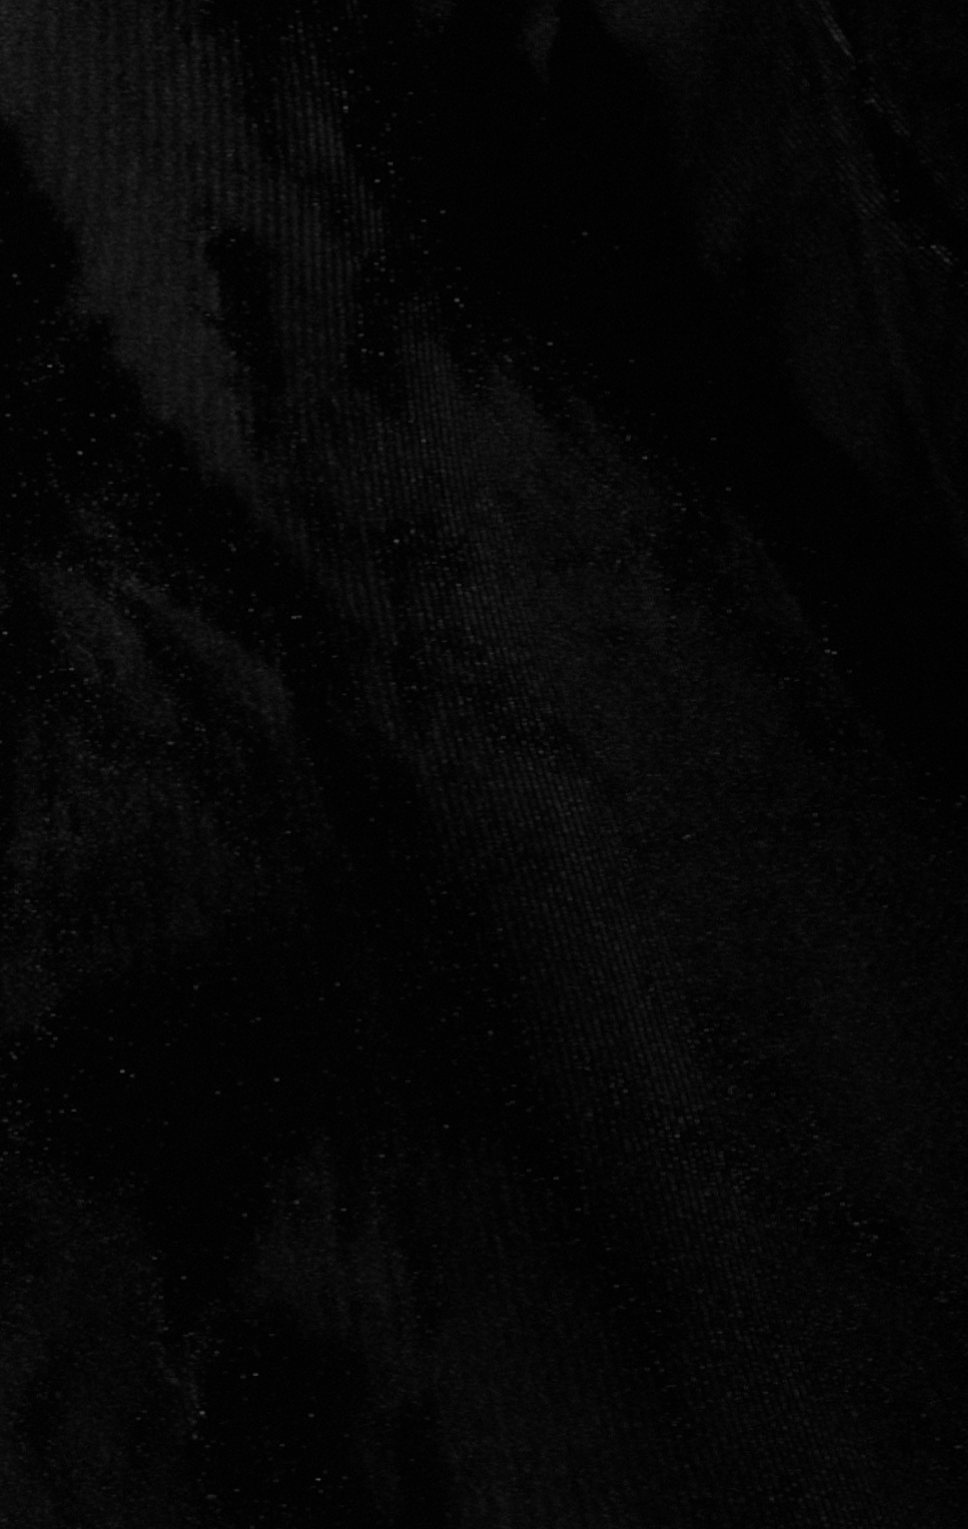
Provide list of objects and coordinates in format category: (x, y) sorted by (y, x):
river: (233, 927)

